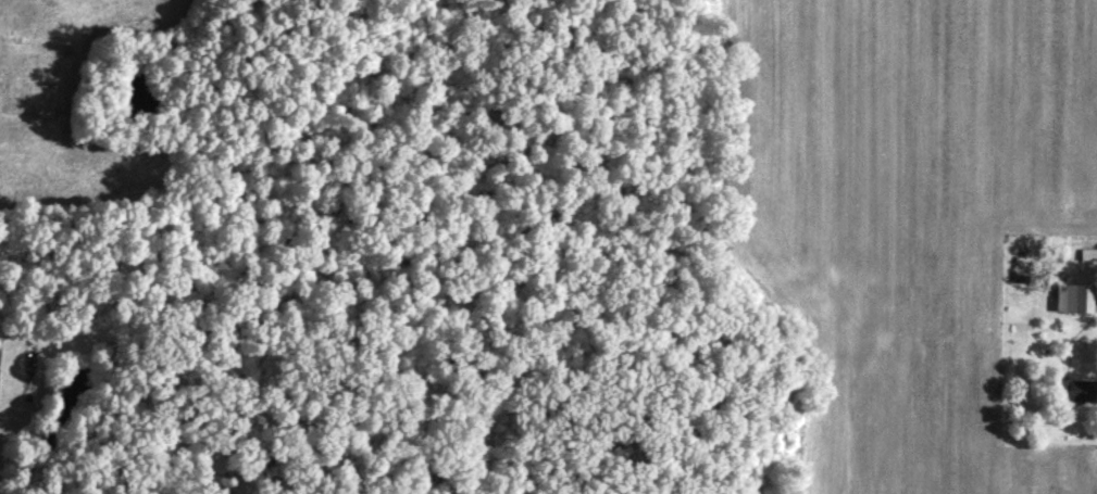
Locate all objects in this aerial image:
building: (1085, 259)
building: (1067, 303)
building: (1070, 394)

